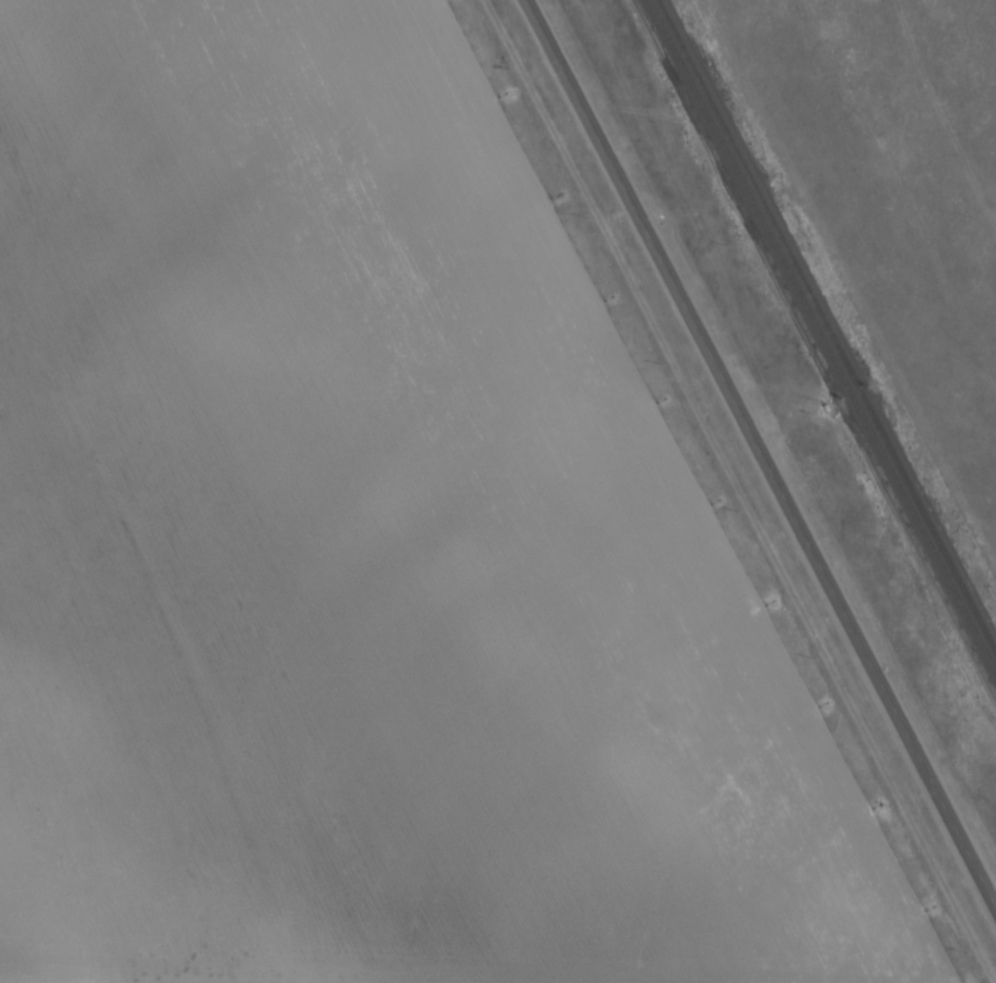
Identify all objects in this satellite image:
railway: (829, 321)
railway: (823, 334)
road: (764, 449)
crop: (374, 549)

